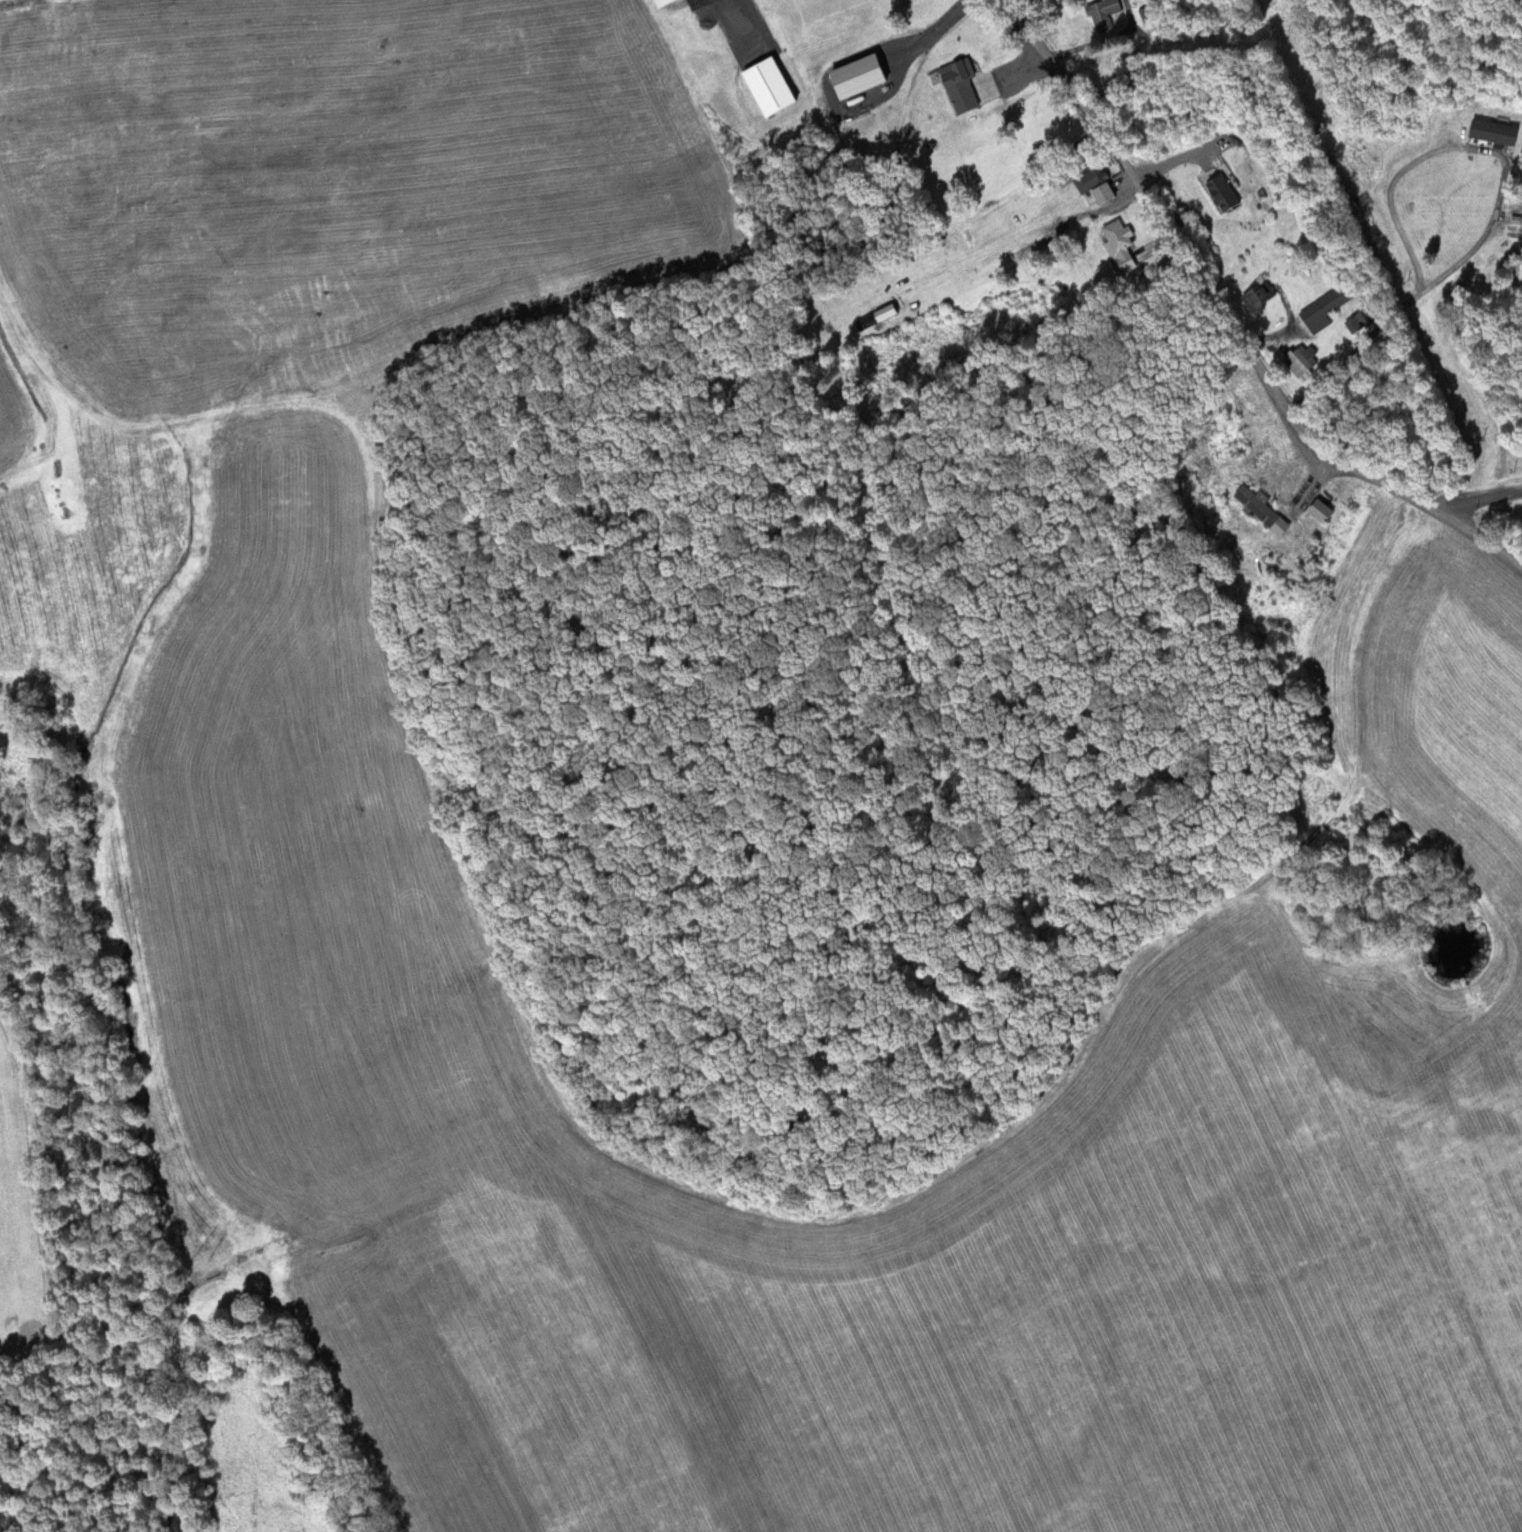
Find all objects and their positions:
building: (655, 2)
building: (1099, 13)
building: (851, 75)
building: (954, 83)
building: (1488, 130)
building: (1090, 180)
building: (1215, 189)
building: (1519, 220)
building: (1114, 238)
building: (1033, 246)
building: (1255, 294)
building: (1322, 306)
road: (1227, 323)
building: (1295, 361)
road: (1474, 496)
building: (1255, 508)
building: (1314, 510)

